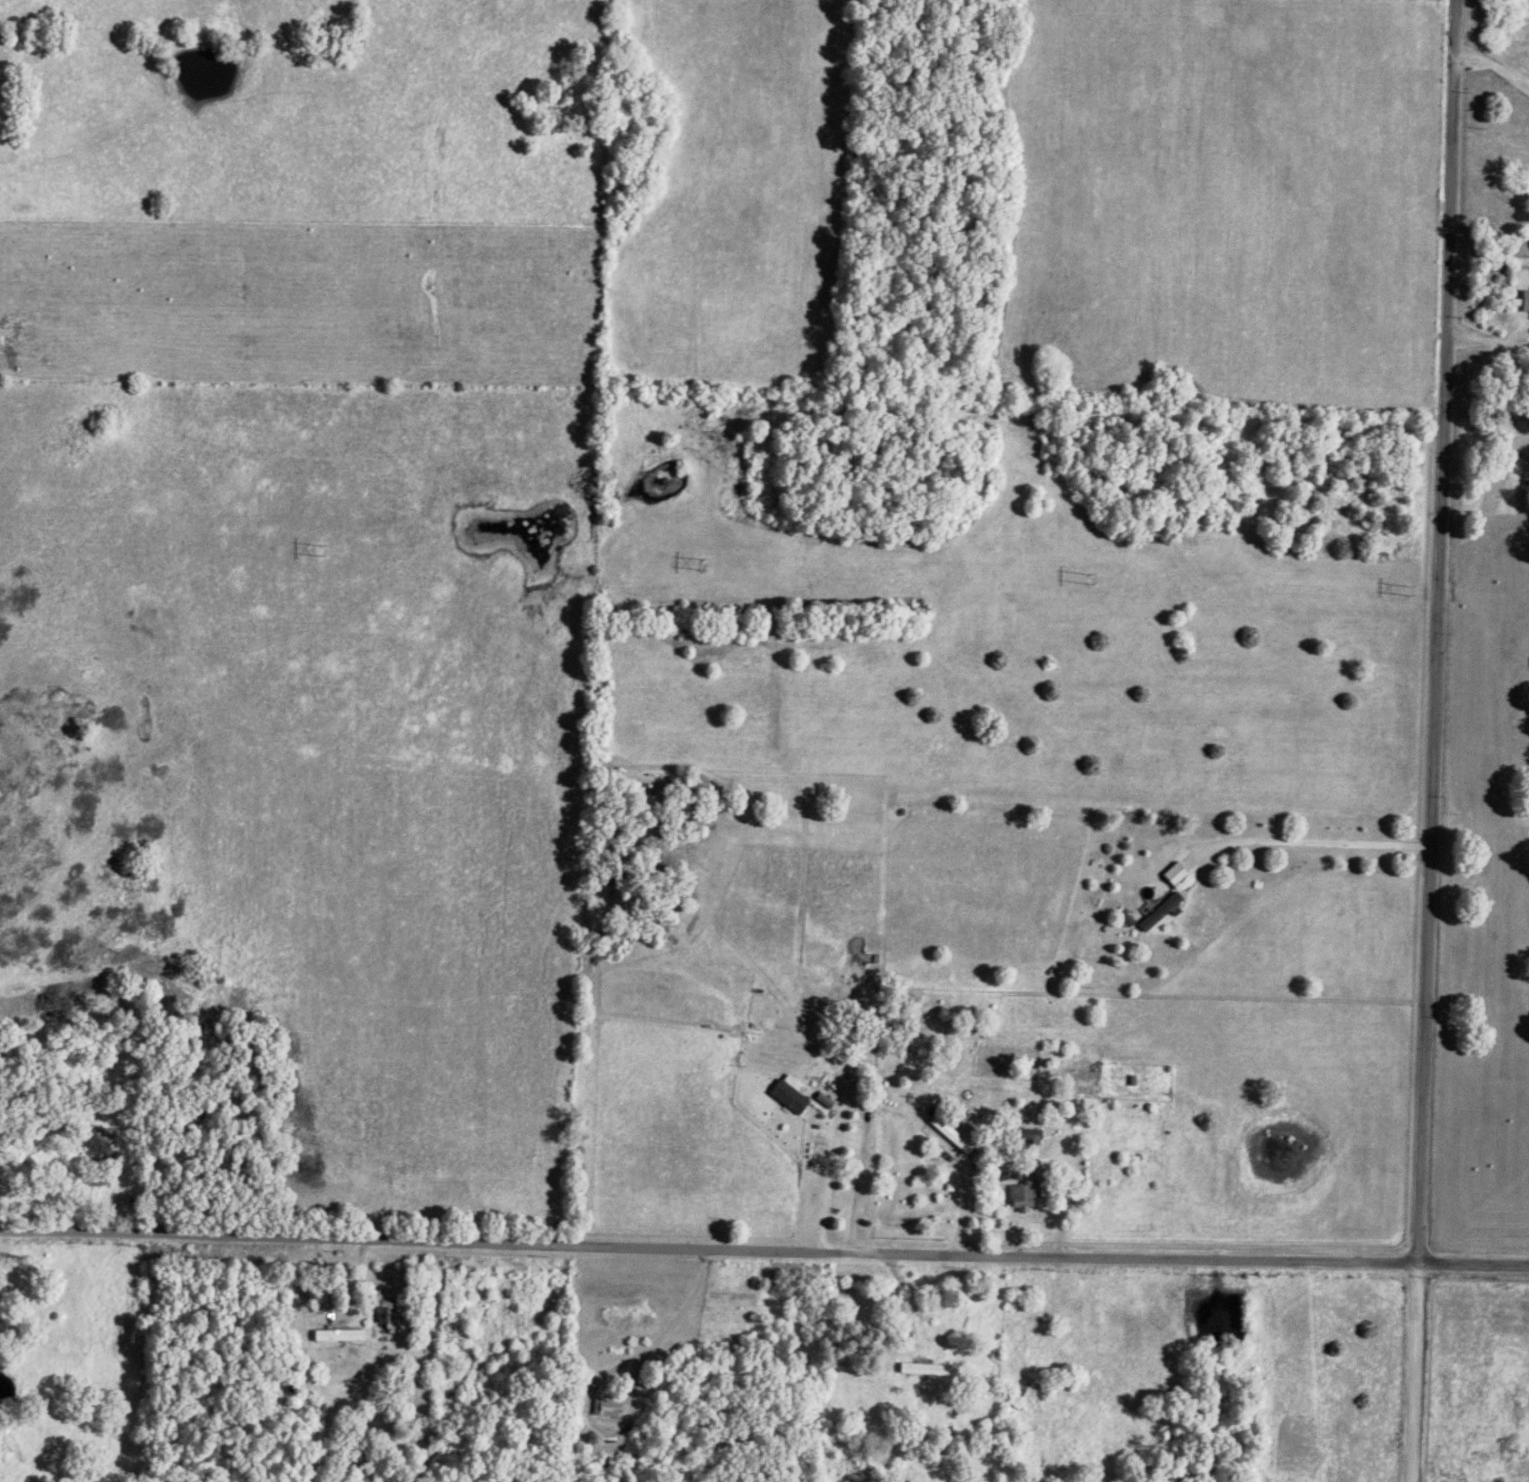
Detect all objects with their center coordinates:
road: (1494, 66)
building: (1526, 297)
power tower: (319, 552)
power tower: (700, 566)
power tower: (1085, 580)
power tower: (1406, 593)
road: (1435, 741)
road: (1298, 841)
building: (1176, 870)
building: (1162, 908)
building: (791, 1090)
building: (952, 1131)
road: (832, 1168)
road: (963, 1178)
building: (1026, 1193)
road: (764, 1249)
building: (341, 1331)

